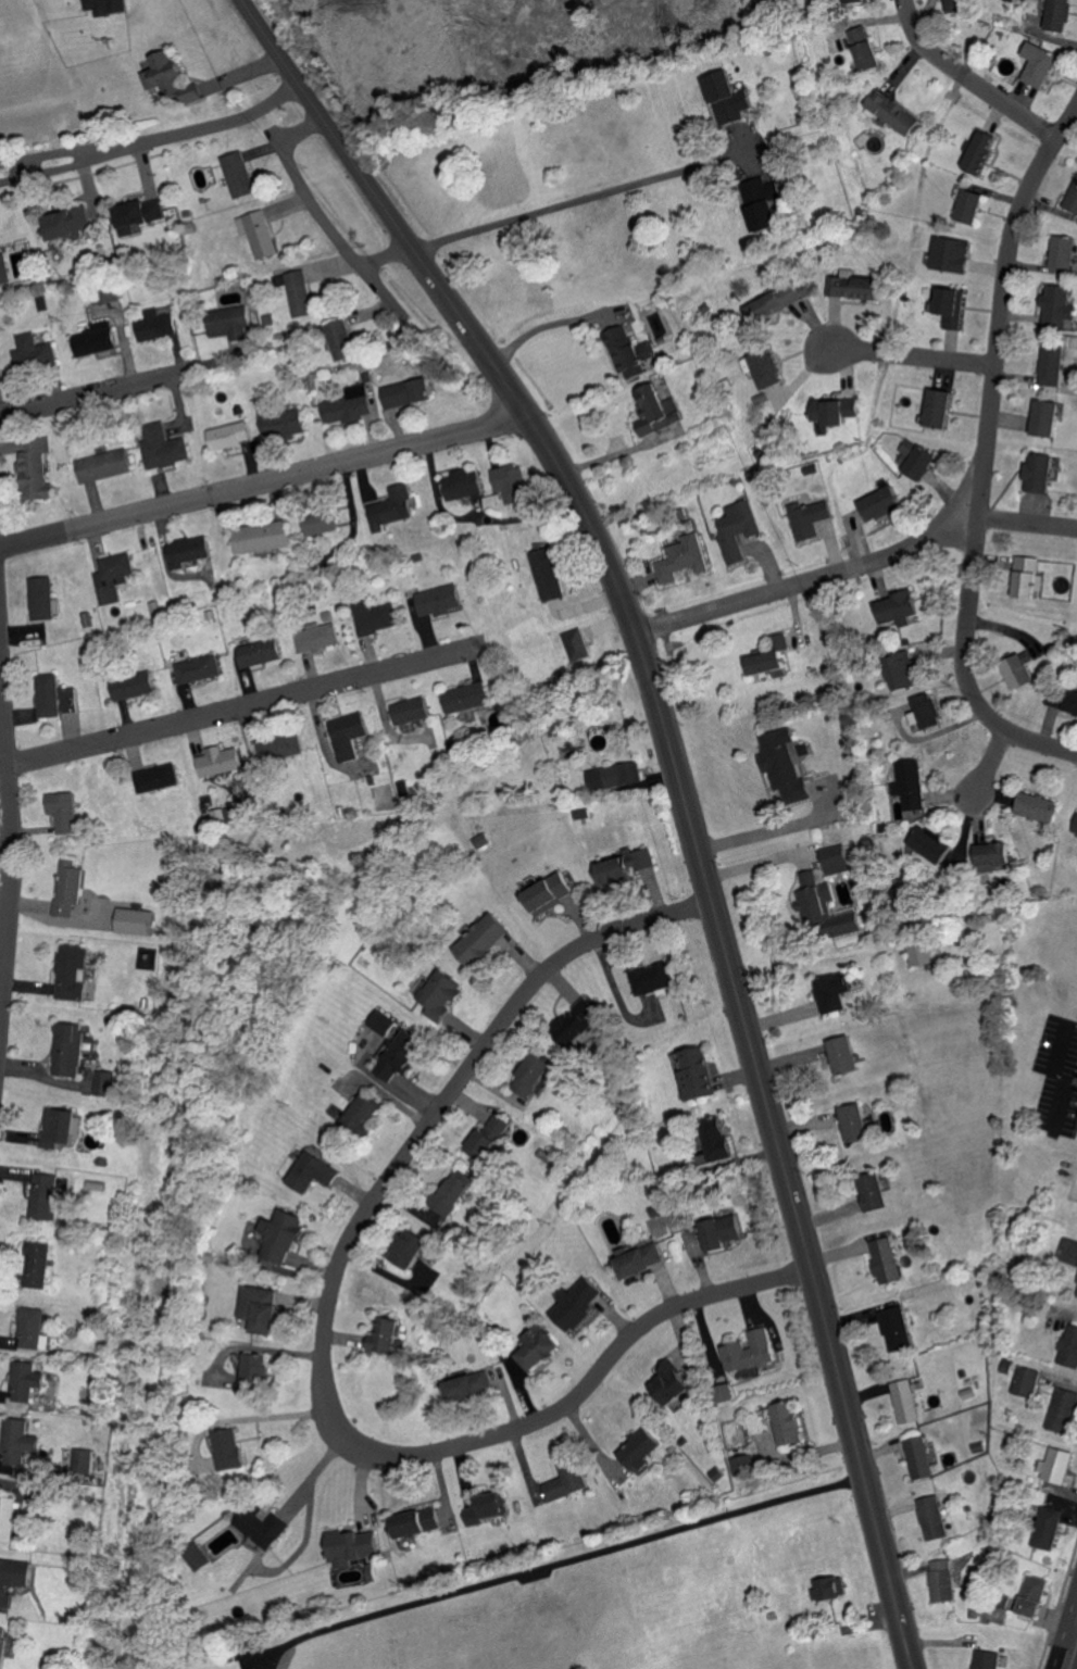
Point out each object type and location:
building: (84, 0)
building: (957, 5)
building: (105, 7)
building: (1059, 15)
building: (867, 48)
building: (1040, 64)
building: (164, 76)
road: (963, 81)
building: (196, 96)
building: (730, 98)
building: (896, 112)
road: (154, 141)
building: (980, 150)
building: (240, 174)
road: (575, 198)
building: (1073, 199)
building: (762, 204)
building: (970, 206)
road: (316, 213)
building: (140, 214)
building: (70, 223)
building: (260, 234)
building: (1064, 252)
building: (952, 254)
building: (4, 268)
building: (854, 287)
building: (300, 293)
building: (774, 303)
building: (952, 306)
building: (1060, 306)
building: (229, 323)
road: (536, 323)
building: (159, 325)
building: (98, 339)
building: (343, 340)
building: (35, 352)
building: (629, 352)
road: (898, 357)
building: (1052, 363)
building: (765, 367)
building: (0, 373)
building: (409, 392)
road: (96, 397)
building: (350, 405)
building: (940, 407)
building: (837, 410)
building: (659, 411)
building: (1048, 417)
building: (280, 421)
building: (230, 435)
building: (164, 447)
road: (980, 454)
building: (918, 459)
building: (105, 465)
building: (36, 467)
building: (1038, 473)
building: (512, 482)
building: (465, 484)
road: (264, 485)
building: (882, 503)
building: (395, 507)
building: (810, 517)
building: (324, 523)
road: (1025, 525)
building: (739, 529)
building: (263, 537)
building: (189, 551)
building: (684, 559)
building: (548, 574)
building: (114, 577)
building: (1028, 577)
road: (806, 583)
building: (45, 599)
building: (439, 601)
building: (899, 608)
building: (376, 617)
building: (317, 638)
building: (576, 644)
building: (260, 652)
building: (772, 656)
building: (199, 668)
building: (903, 672)
building: (1019, 672)
building: (134, 686)
building: (55, 697)
building: (466, 698)
building: (1059, 698)
building: (1073, 702)
building: (411, 711)
building: (929, 711)
road: (243, 713)
building: (349, 735)
building: (279, 748)
building: (218, 761)
building: (785, 765)
road: (985, 774)
building: (615, 776)
building: (158, 778)
building: (911, 783)
road: (684, 787)
building: (1039, 806)
building: (66, 812)
building: (581, 813)
road: (784, 824)
building: (1076, 828)
road: (13, 836)
building: (480, 840)
building: (931, 844)
building: (993, 854)
building: (836, 858)
road: (760, 859)
building: (626, 866)
building: (529, 884)
building: (71, 889)
building: (550, 893)
building: (815, 899)
building: (135, 921)
building: (846, 927)
building: (484, 940)
building: (918, 952)
building: (72, 972)
building: (653, 979)
building: (834, 993)
building: (442, 994)
building: (577, 1019)
building: (381, 1021)
building: (68, 1047)
building: (844, 1053)
building: (403, 1054)
road: (1059, 1057)
building: (534, 1072)
building: (104, 1082)
building: (364, 1110)
building: (855, 1120)
building: (61, 1126)
building: (488, 1135)
building: (718, 1141)
building: (314, 1171)
building: (874, 1190)
building: (451, 1192)
building: (45, 1194)
building: (721, 1230)
building: (281, 1234)
building: (410, 1246)
building: (641, 1259)
building: (886, 1259)
building: (38, 1264)
building: (577, 1302)
building: (261, 1307)
building: (32, 1327)
building: (894, 1327)
building: (385, 1334)
road: (317, 1342)
building: (1069, 1345)
building: (535, 1346)
building: (751, 1350)
building: (253, 1371)
building: (26, 1380)
building: (1026, 1380)
building: (672, 1382)
building: (468, 1383)
building: (723, 1392)
building: (904, 1401)
building: (1063, 1409)
road: (243, 1419)
building: (788, 1421)
building: (20, 1441)
building: (641, 1447)
building: (229, 1448)
building: (918, 1456)
building: (84, 1459)
building: (742, 1464)
building: (1056, 1464)
building: (568, 1480)
building: (486, 1508)
building: (8, 1517)
building: (932, 1517)
building: (416, 1521)
building: (263, 1524)
building: (1048, 1527)
building: (353, 1546)
building: (196, 1556)
road: (555, 1560)
building: (13, 1577)
building: (942, 1579)
building: (830, 1586)
building: (1034, 1595)
building: (3, 1645)
road: (1069, 1645)
building: (988, 1659)

